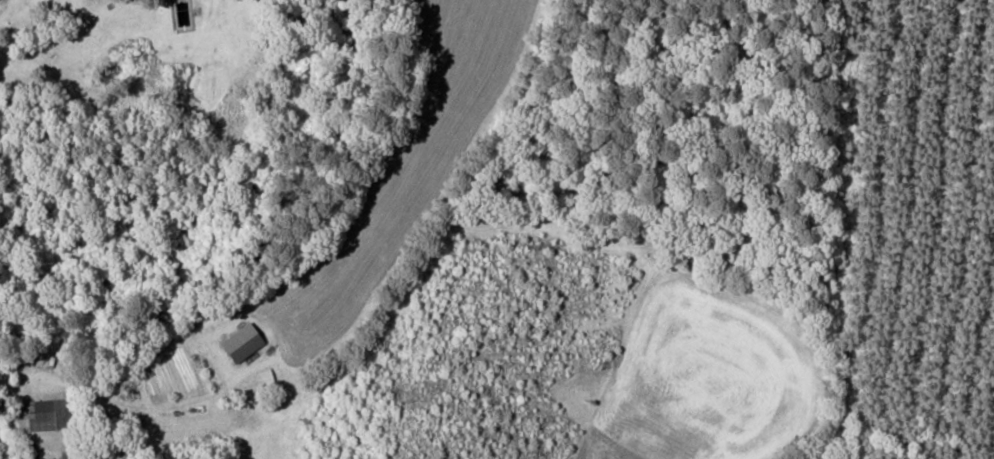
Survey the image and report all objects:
building: (237, 342)
building: (45, 413)

